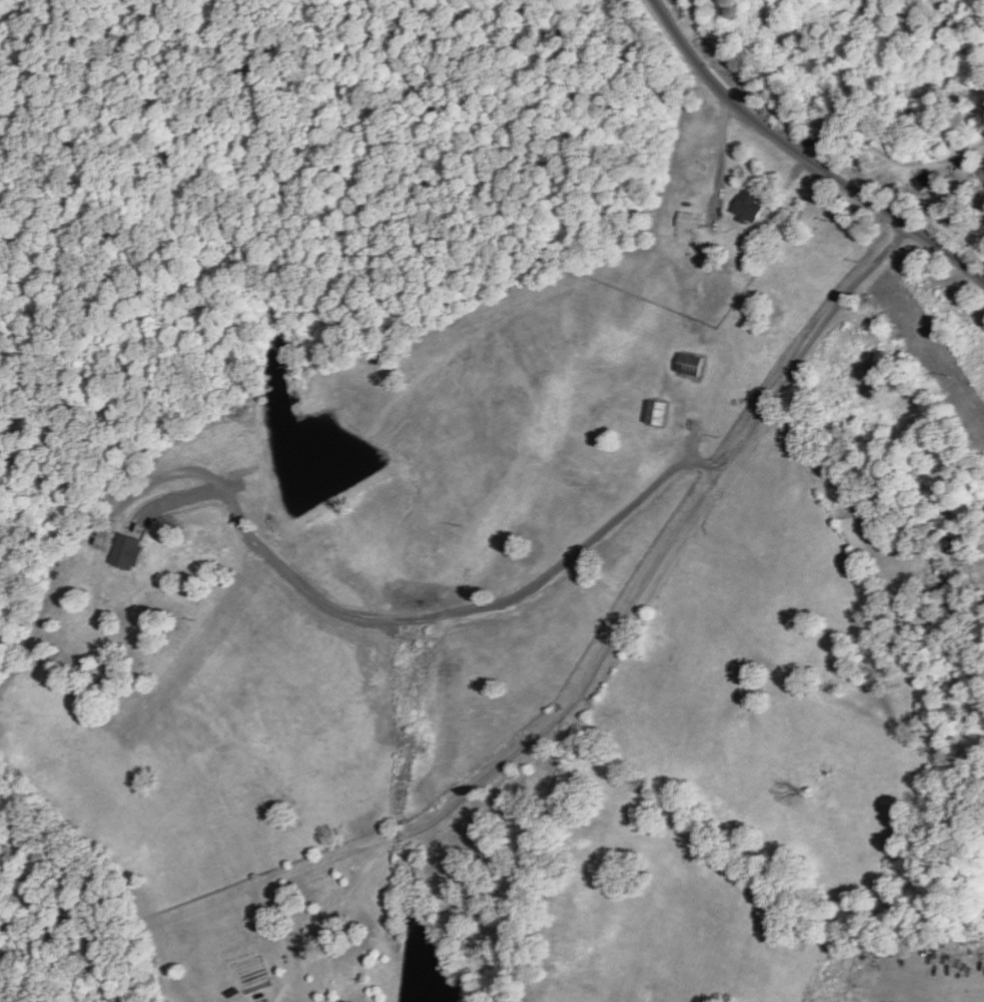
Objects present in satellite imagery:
road: (732, 154)
road: (805, 156)
building: (921, 181)
building: (746, 207)
building: (684, 221)
building: (654, 413)
building: (125, 553)
road: (656, 570)
road: (425, 617)

